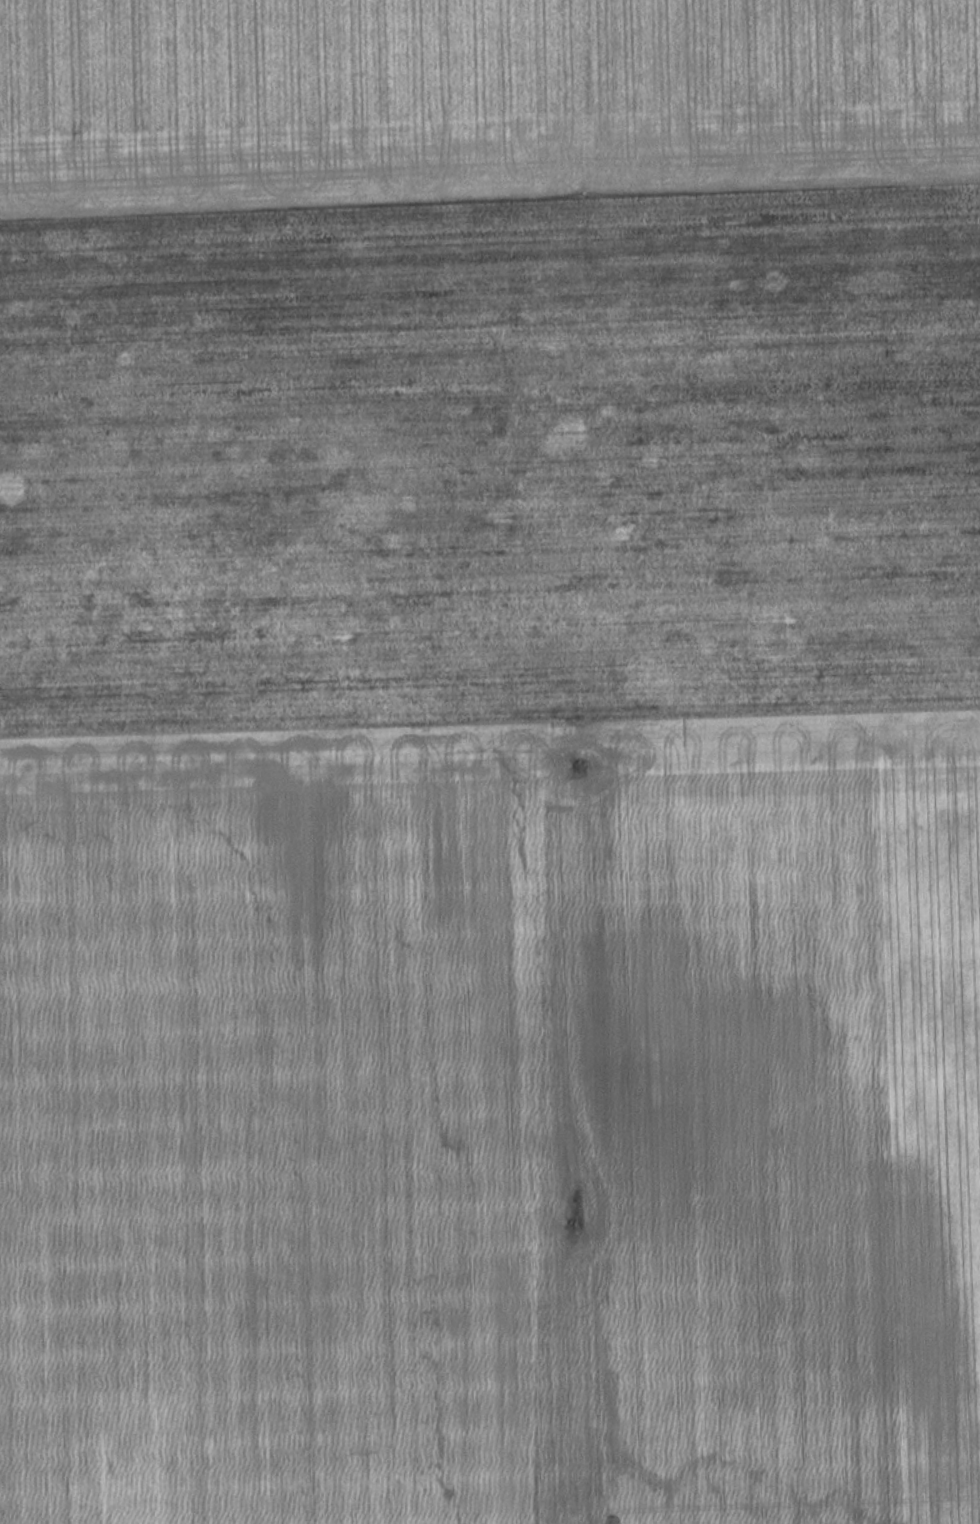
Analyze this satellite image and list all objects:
crop: (475, 99)
crop: (492, 861)

